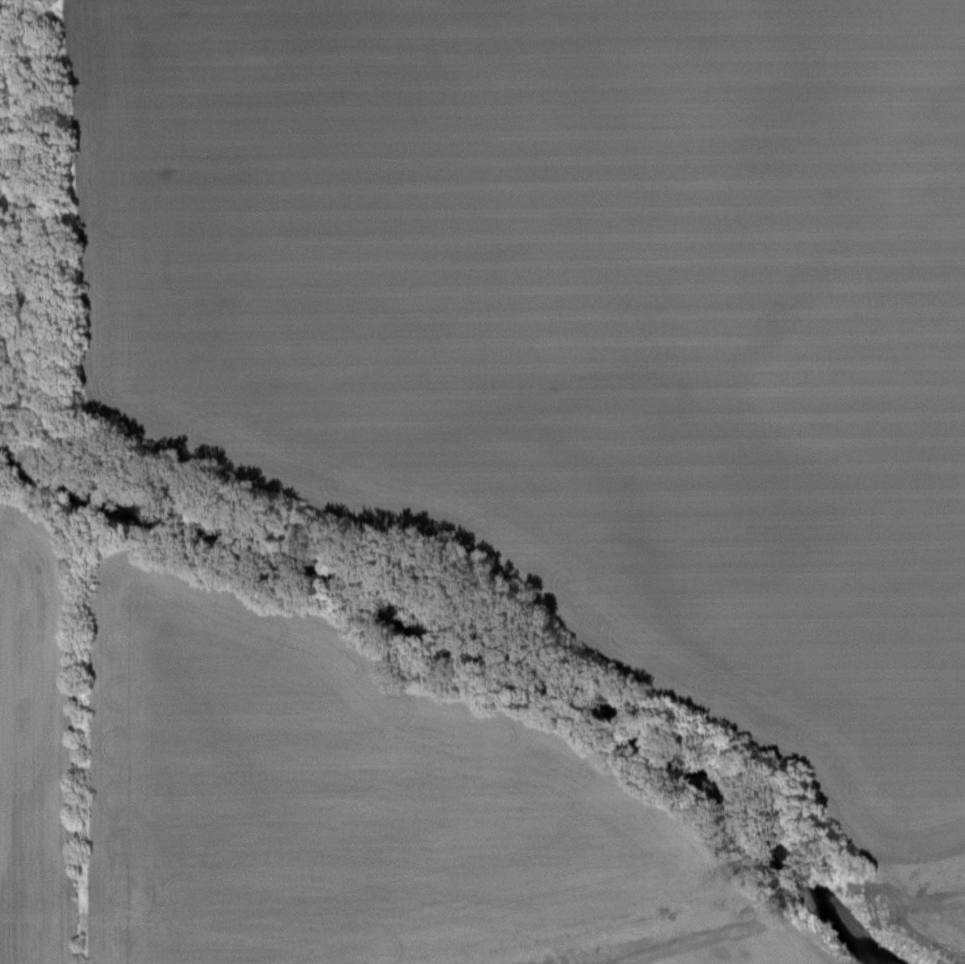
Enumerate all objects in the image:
road: (935, 926)
road: (863, 944)
road: (800, 959)

